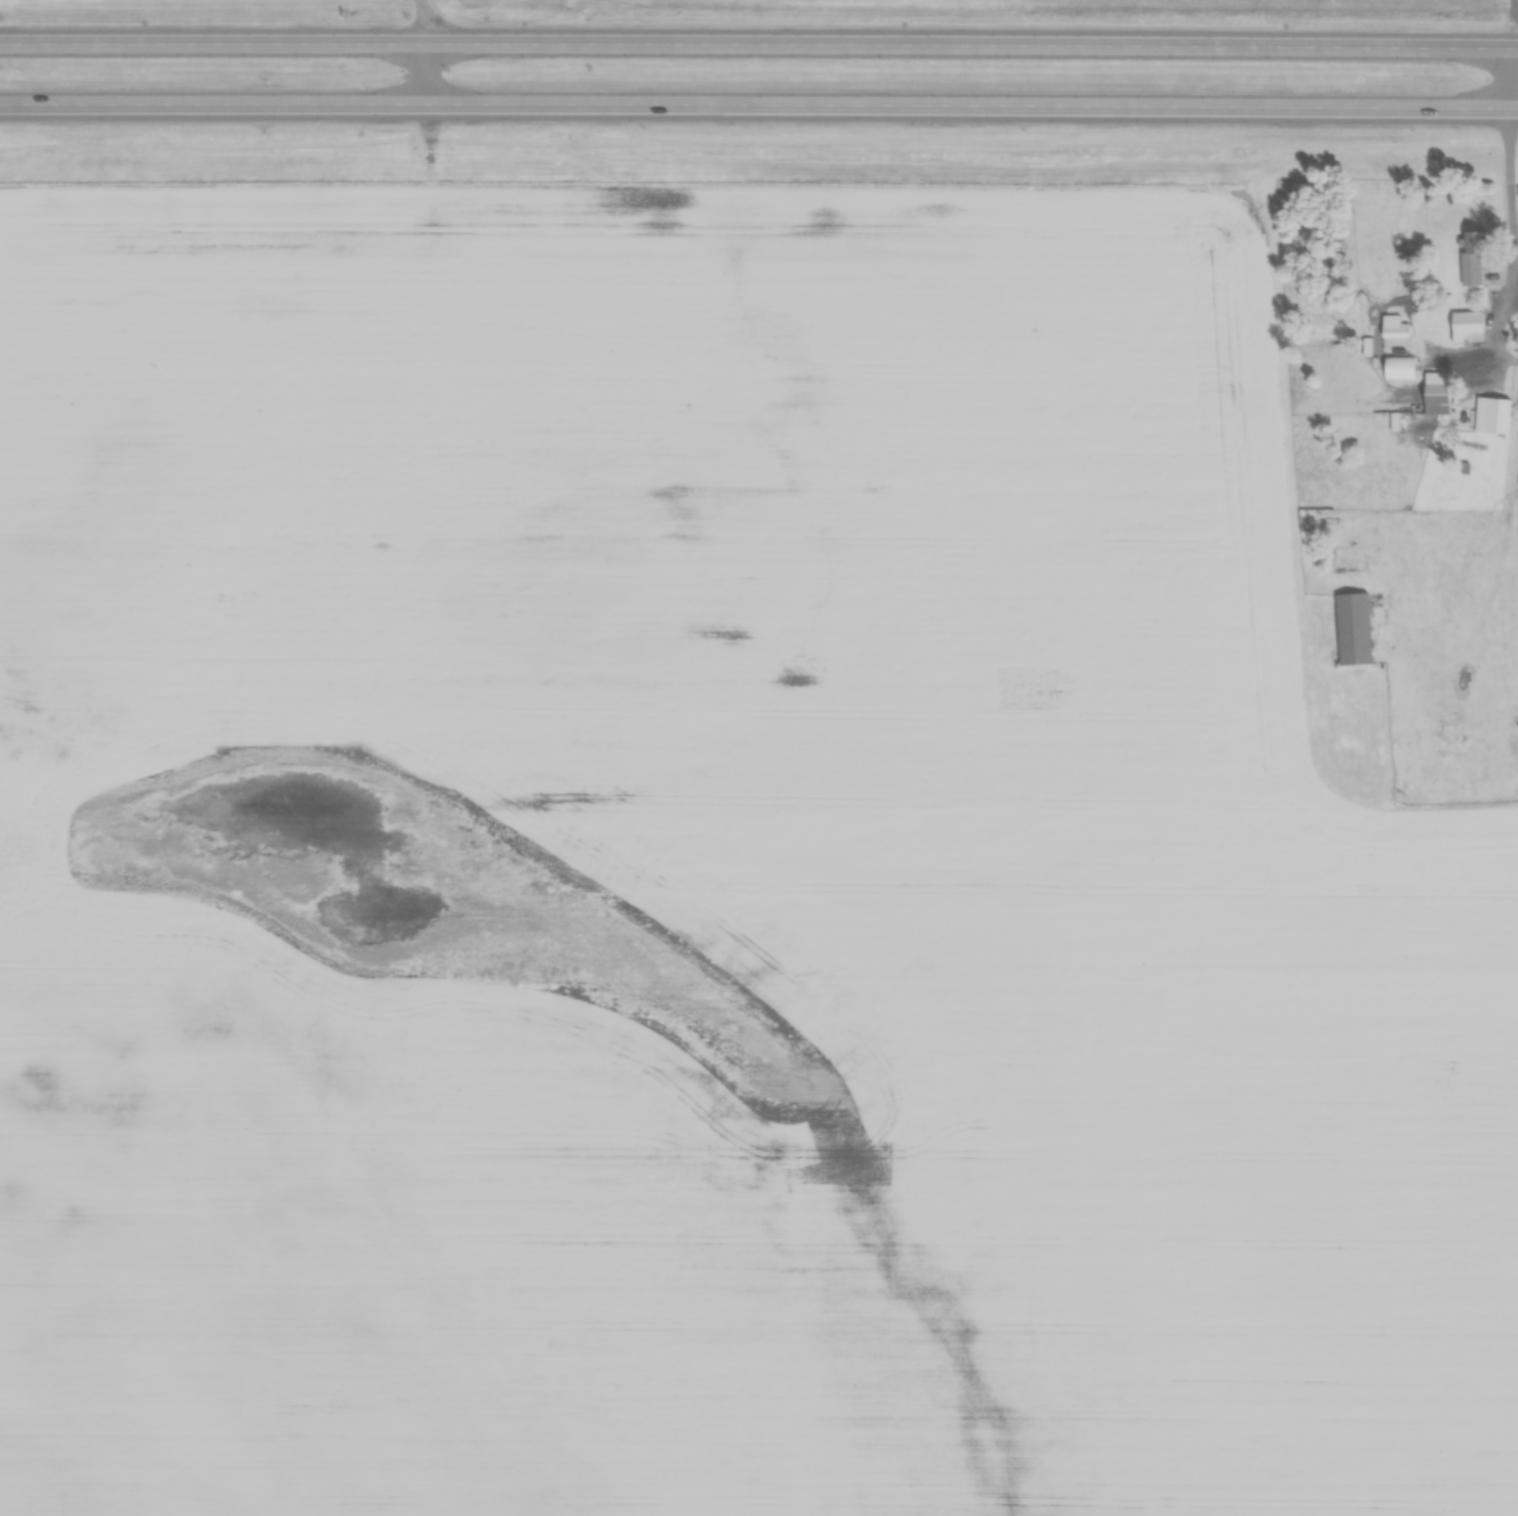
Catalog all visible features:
road: (1513, 23)
road: (758, 44)
road: (423, 53)
road: (1508, 79)
road: (758, 108)
road: (1508, 260)
building: (1390, 322)
building: (1466, 322)
building: (1396, 345)
building: (1399, 369)
building: (1437, 394)
building: (1498, 416)
building: (1355, 629)
crop: (710, 877)

